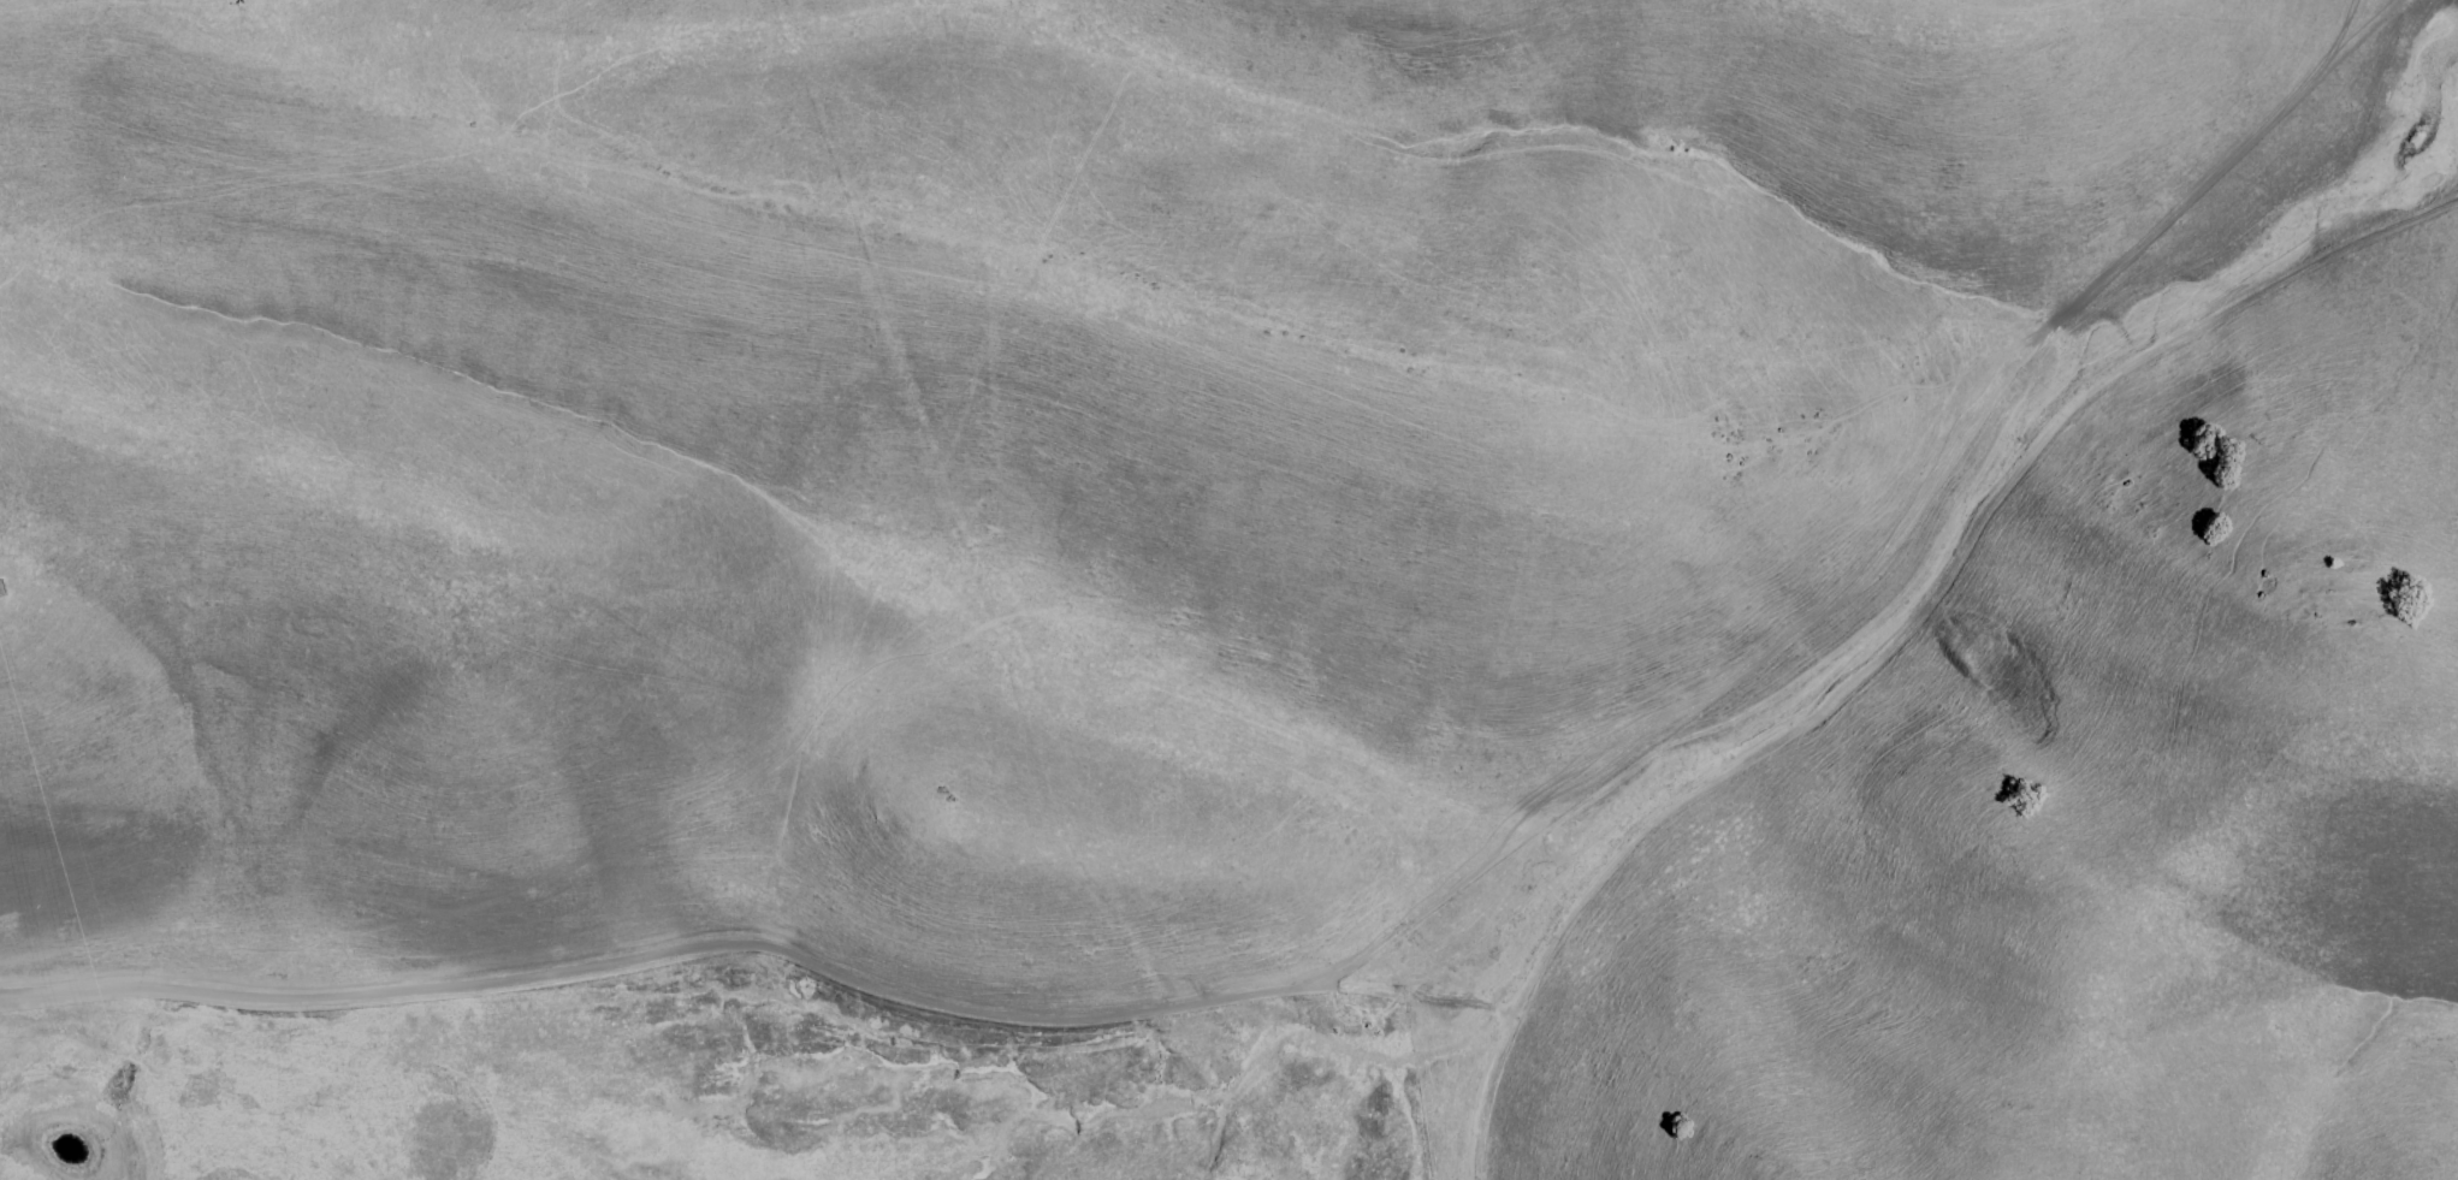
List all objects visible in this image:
road: (674, 955)

